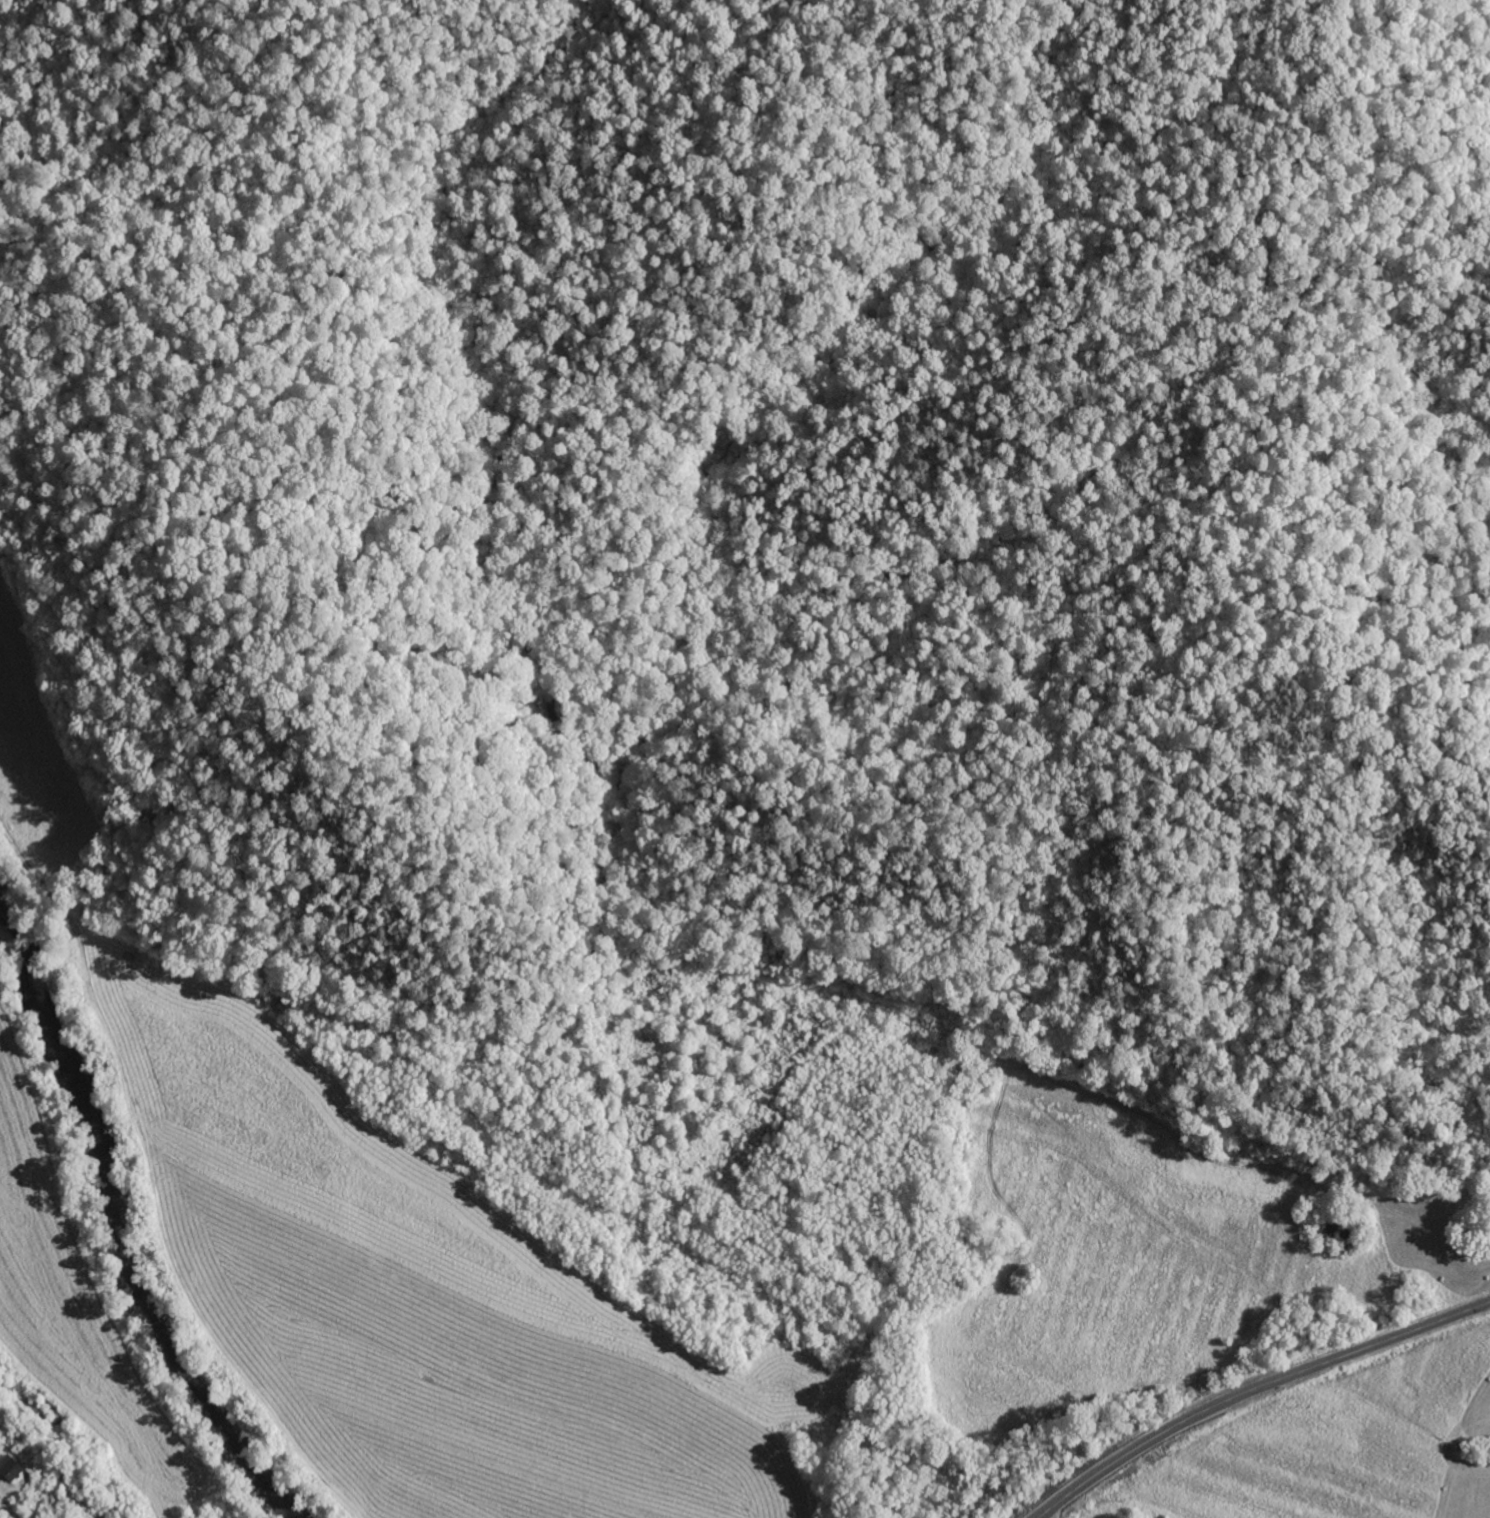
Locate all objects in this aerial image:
road: (9, 799)
road: (164, 1163)
road: (1254, 1390)
building: (8, 1471)

